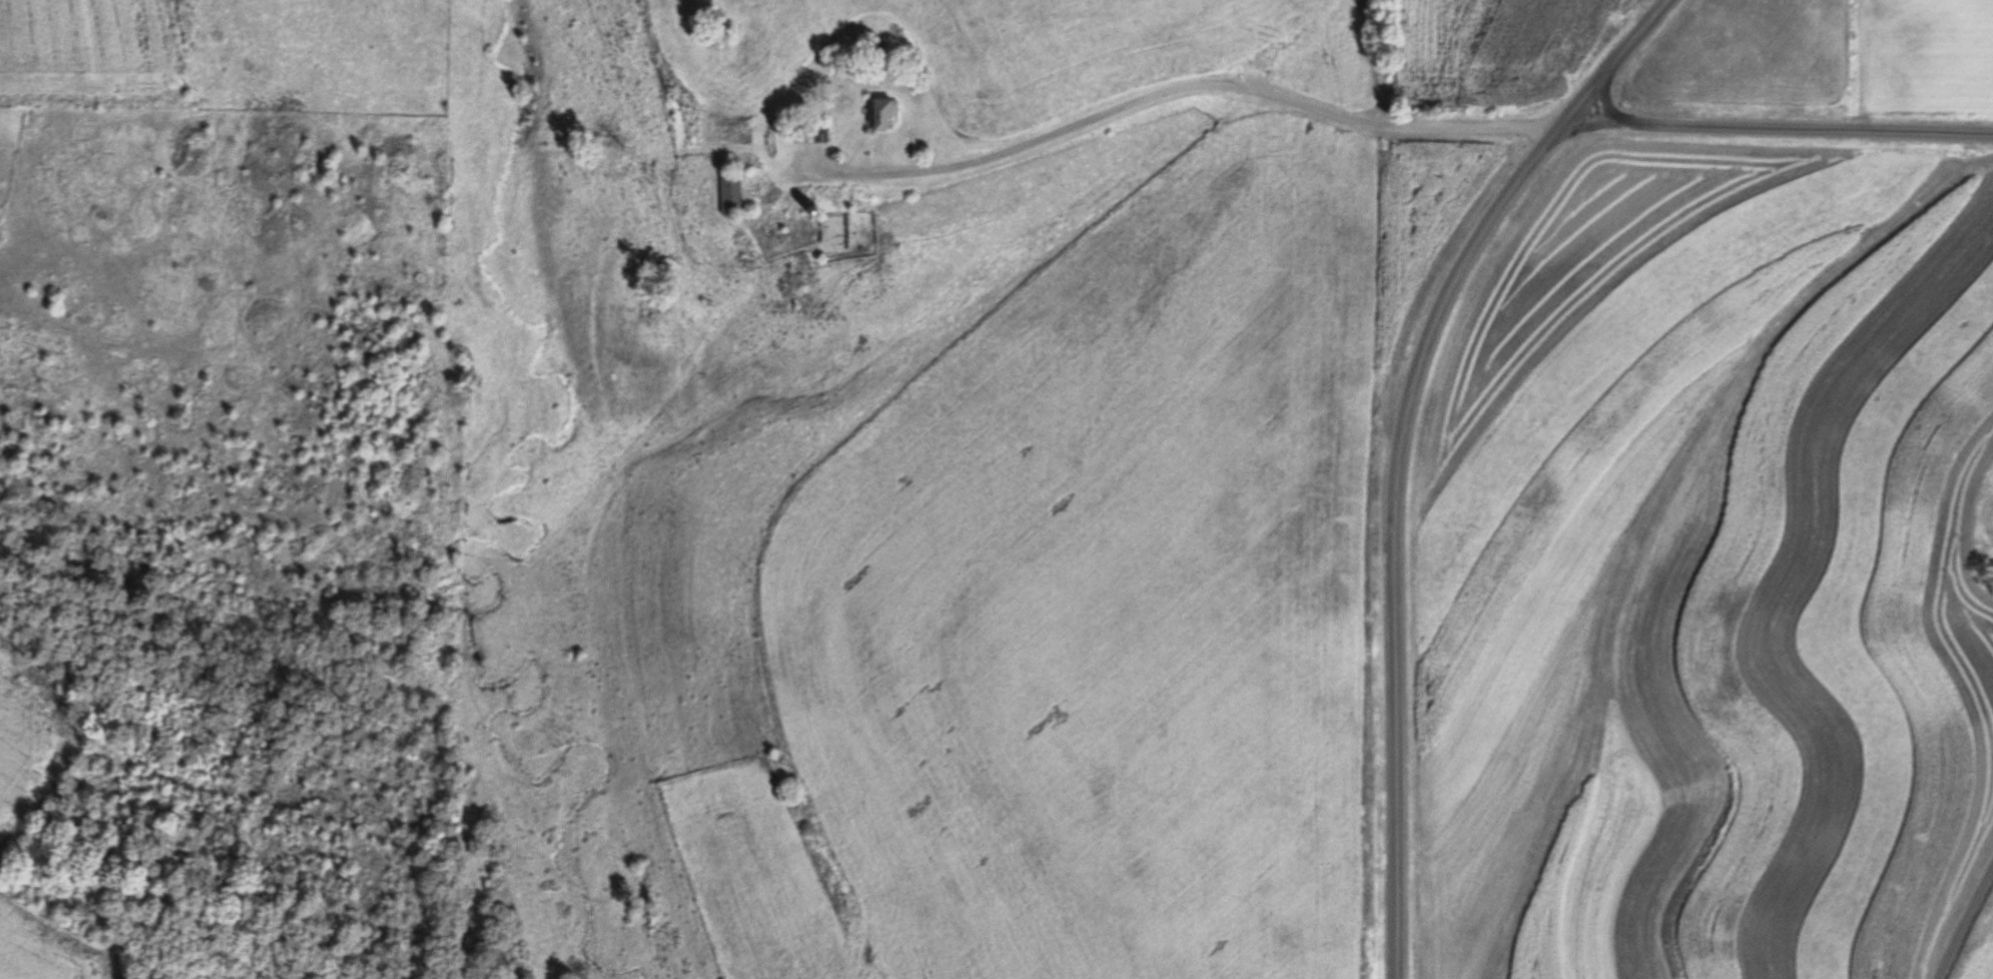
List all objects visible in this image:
road: (1191, 96)
building: (881, 114)
road: (1780, 134)
building: (729, 192)
road: (1504, 215)
road: (1398, 724)
road: (496, 738)
road: (1963, 917)

